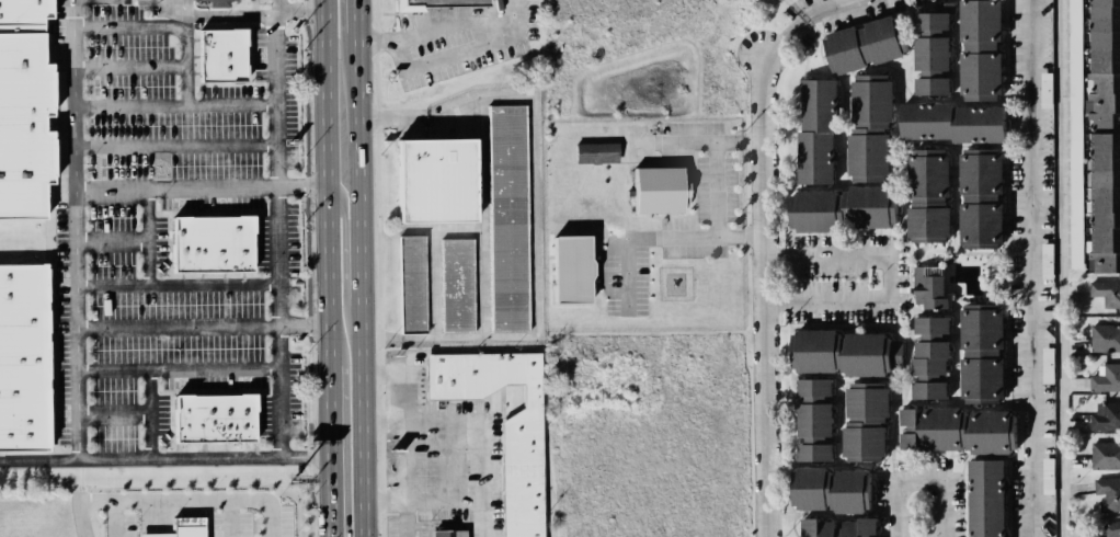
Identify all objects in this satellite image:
road: (87, 0)
building: (217, 2)
building: (433, 4)
road: (301, 11)
building: (28, 13)
road: (803, 18)
road: (221, 21)
building: (928, 22)
building: (979, 22)
road: (482, 25)
road: (161, 27)
building: (1075, 33)
building: (1102, 36)
building: (861, 45)
building: (218, 53)
building: (928, 54)
road: (127, 68)
building: (979, 72)
building: (929, 84)
building: (1047, 91)
building: (866, 99)
building: (1101, 101)
building: (813, 102)
road: (171, 106)
building: (922, 122)
building: (19, 124)
building: (978, 124)
road: (740, 140)
road: (717, 144)
road: (172, 146)
building: (594, 152)
building: (866, 155)
building: (812, 158)
building: (436, 181)
road: (198, 187)
building: (1076, 188)
building: (654, 191)
building: (924, 198)
building: (976, 198)
building: (1100, 203)
building: (869, 207)
building: (811, 209)
road: (344, 216)
building: (508, 218)
road: (71, 230)
road: (146, 237)
road: (274, 238)
road: (665, 238)
road: (110, 241)
building: (207, 248)
road: (362, 267)
road: (328, 268)
building: (571, 268)
road: (1032, 268)
road: (1062, 268)
road: (889, 276)
building: (413, 284)
building: (458, 284)
road: (173, 286)
building: (927, 286)
building: (1107, 293)
road: (763, 296)
building: (928, 327)
road: (201, 328)
building: (1105, 339)
building: (929, 345)
building: (809, 351)
building: (978, 351)
building: (861, 353)
building: (21, 355)
building: (924, 365)
road: (174, 370)
building: (1106, 380)
building: (812, 389)
building: (925, 390)
building: (860, 402)
road: (112, 415)
road: (149, 415)
building: (212, 418)
road: (482, 419)
building: (1106, 420)
building: (812, 421)
building: (499, 427)
building: (985, 431)
building: (941, 432)
building: (860, 444)
building: (812, 452)
building: (1106, 456)
road: (165, 459)
road: (405, 478)
road: (923, 482)
building: (811, 492)
building: (852, 492)
building: (1108, 494)
building: (984, 498)
road: (176, 500)
road: (385, 504)
building: (190, 527)
building: (816, 529)
building: (859, 529)
building: (1112, 529)
building: (445, 533)

